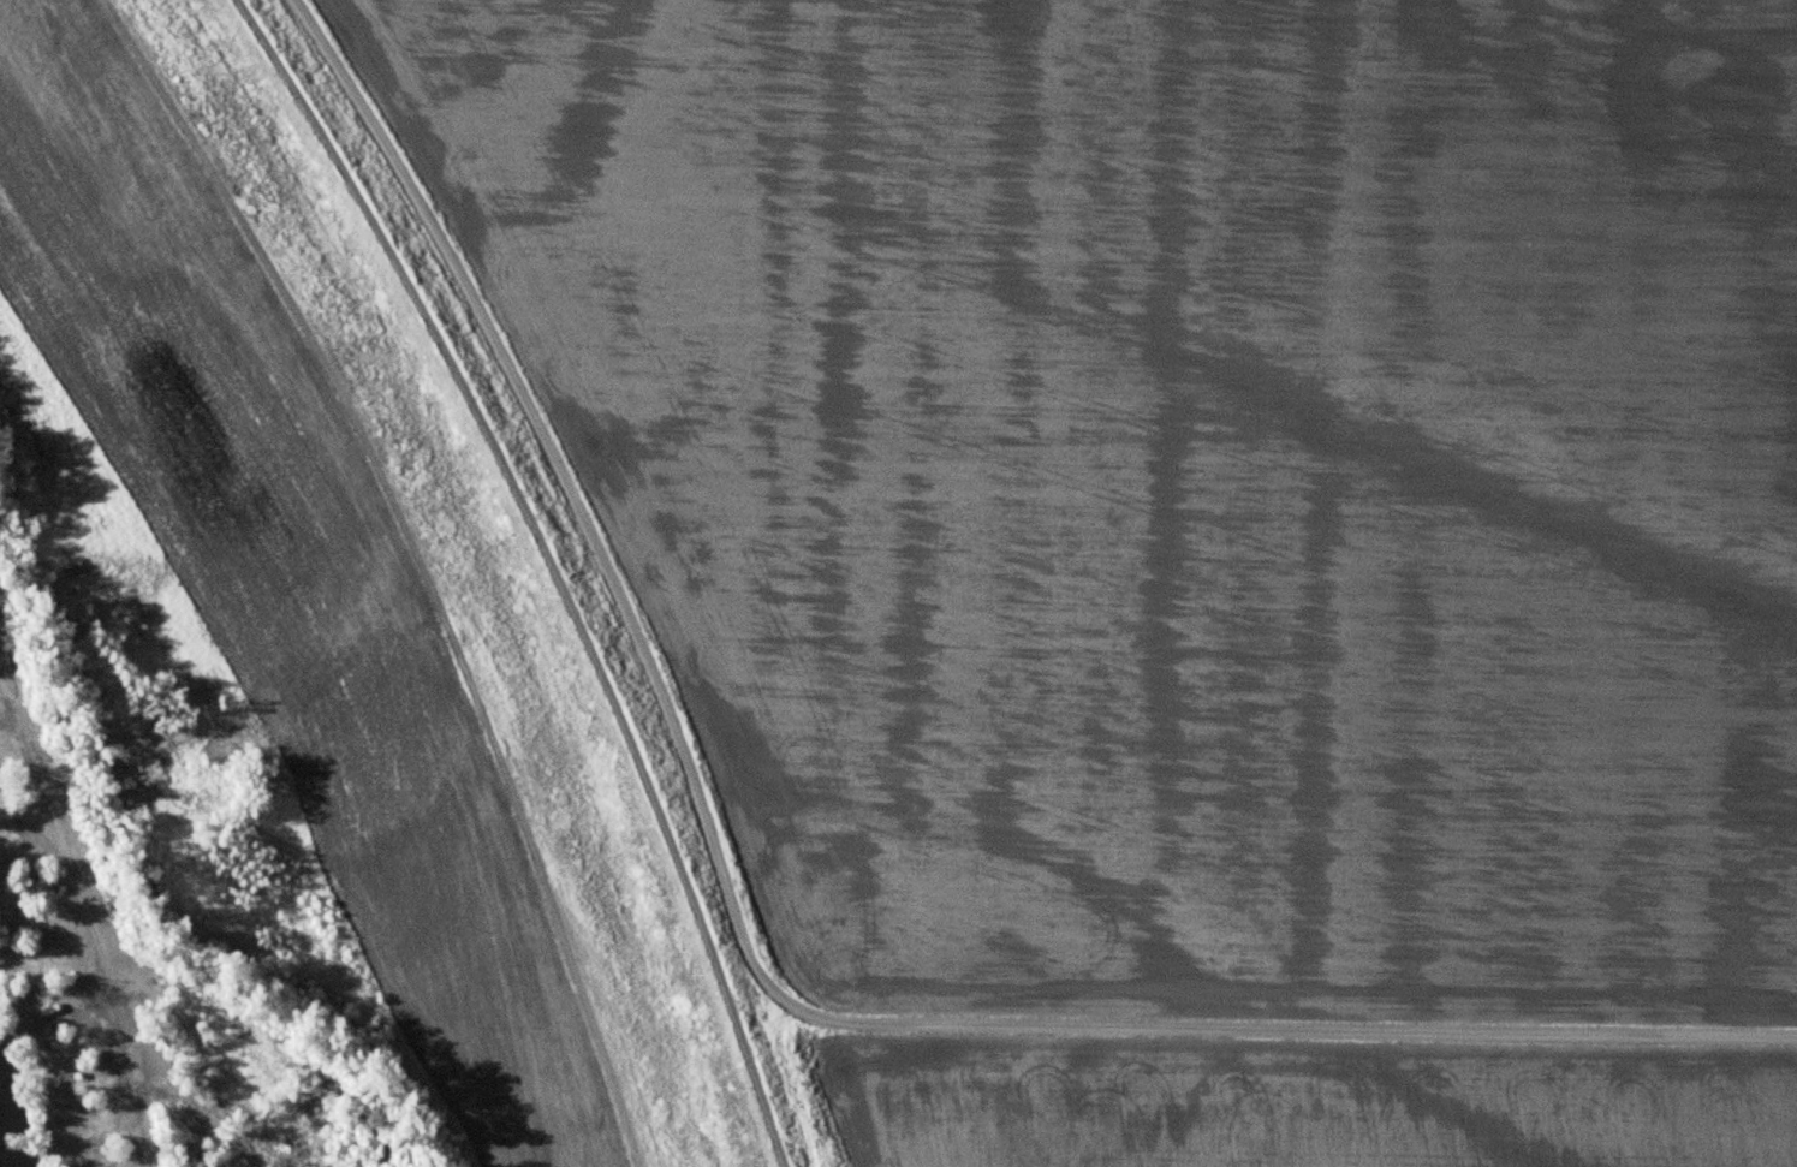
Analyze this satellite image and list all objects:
road: (552, 564)
road: (749, 965)

